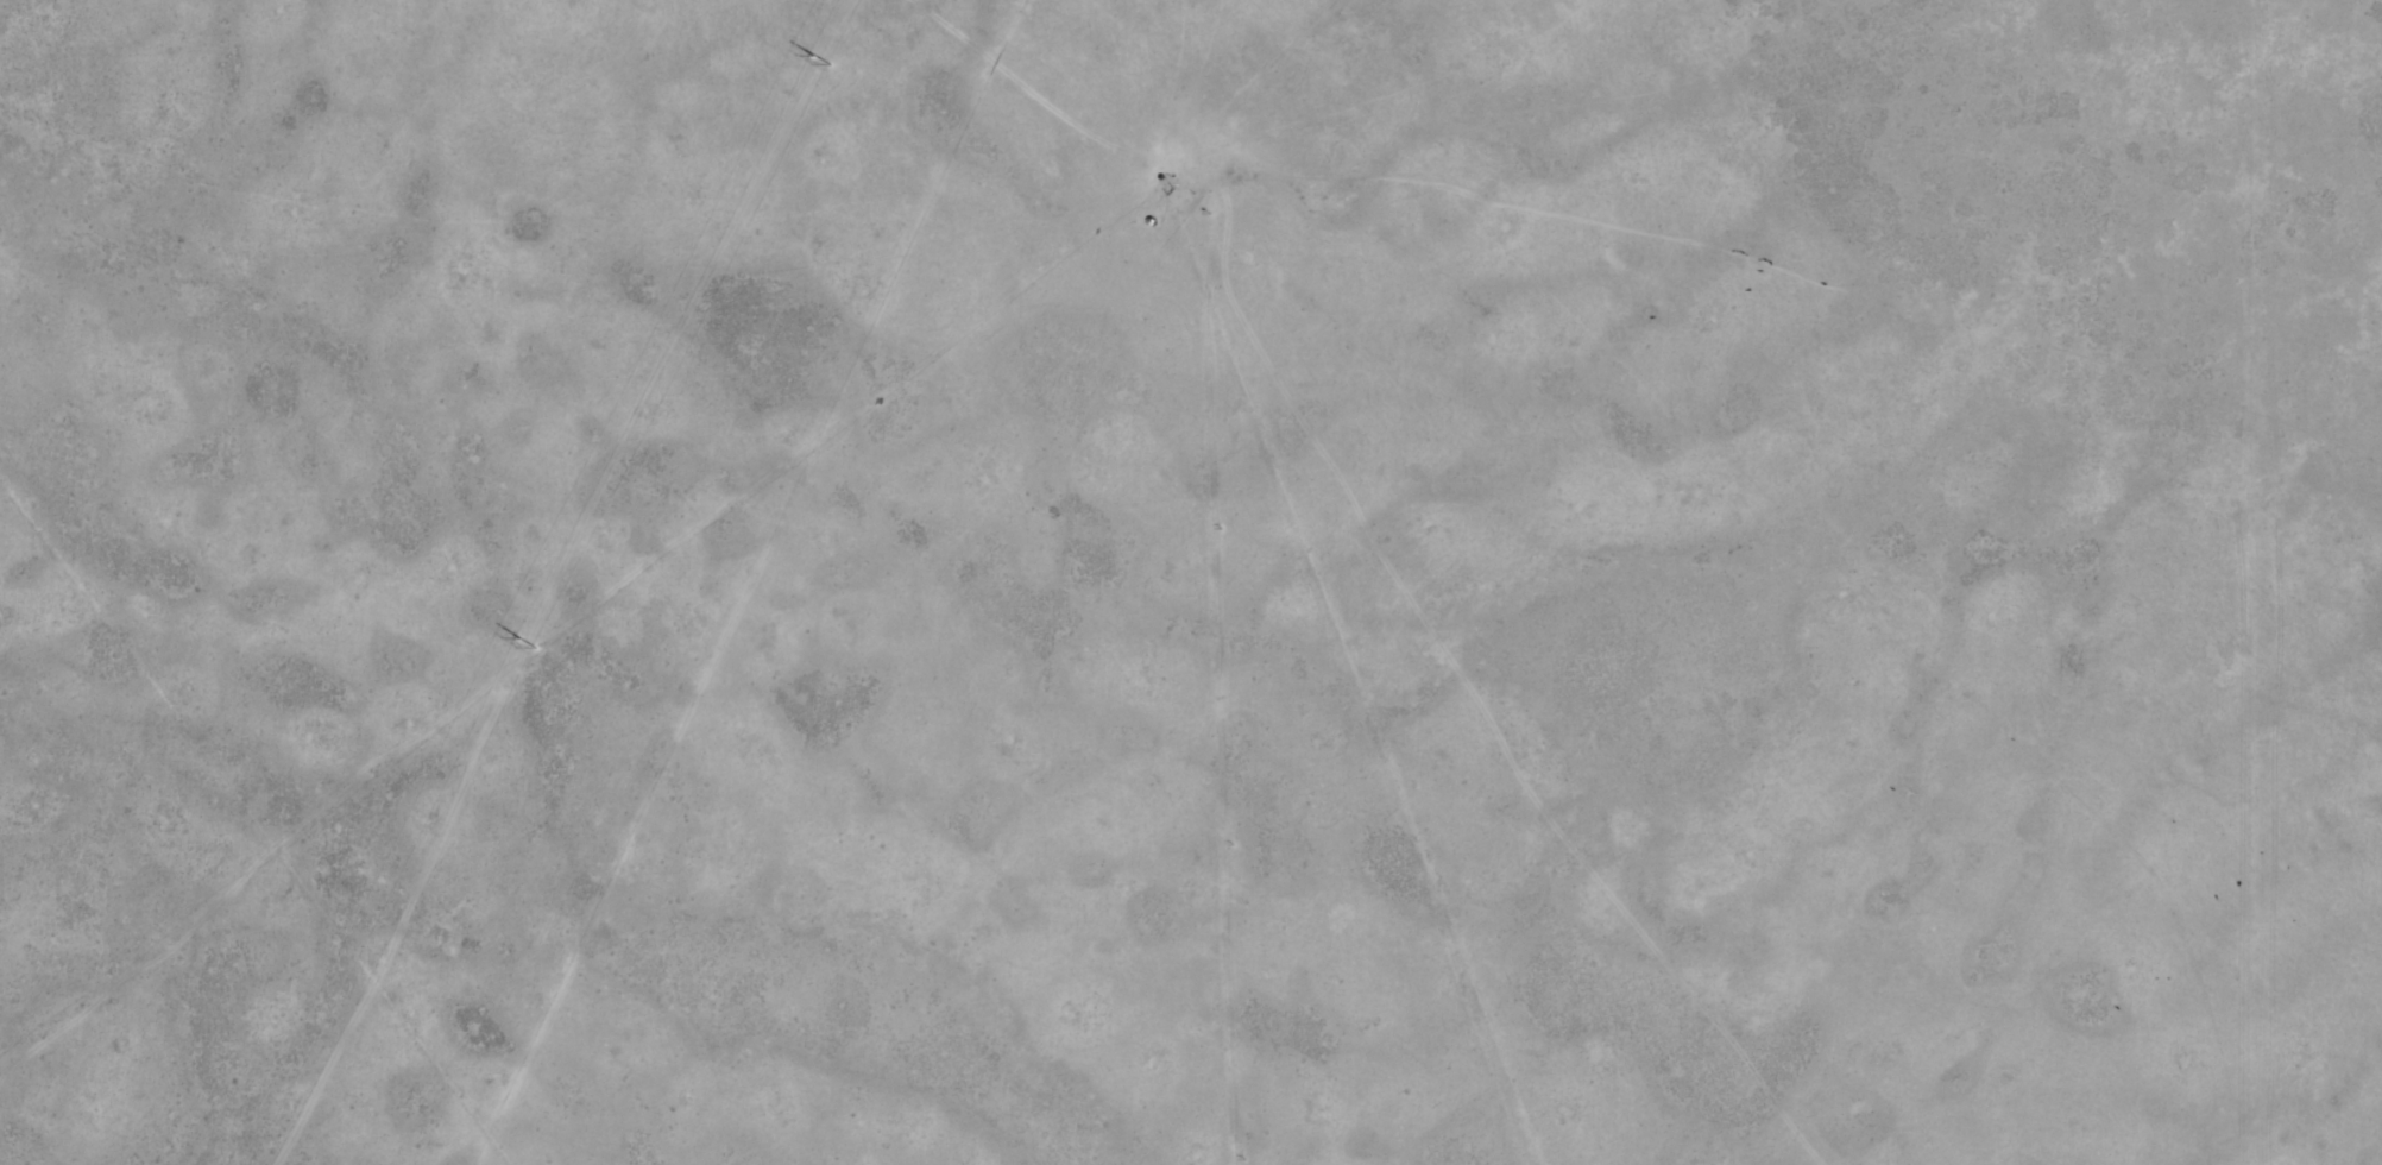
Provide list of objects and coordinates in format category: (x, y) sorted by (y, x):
power tower: (820, 56)
power tower: (527, 640)

